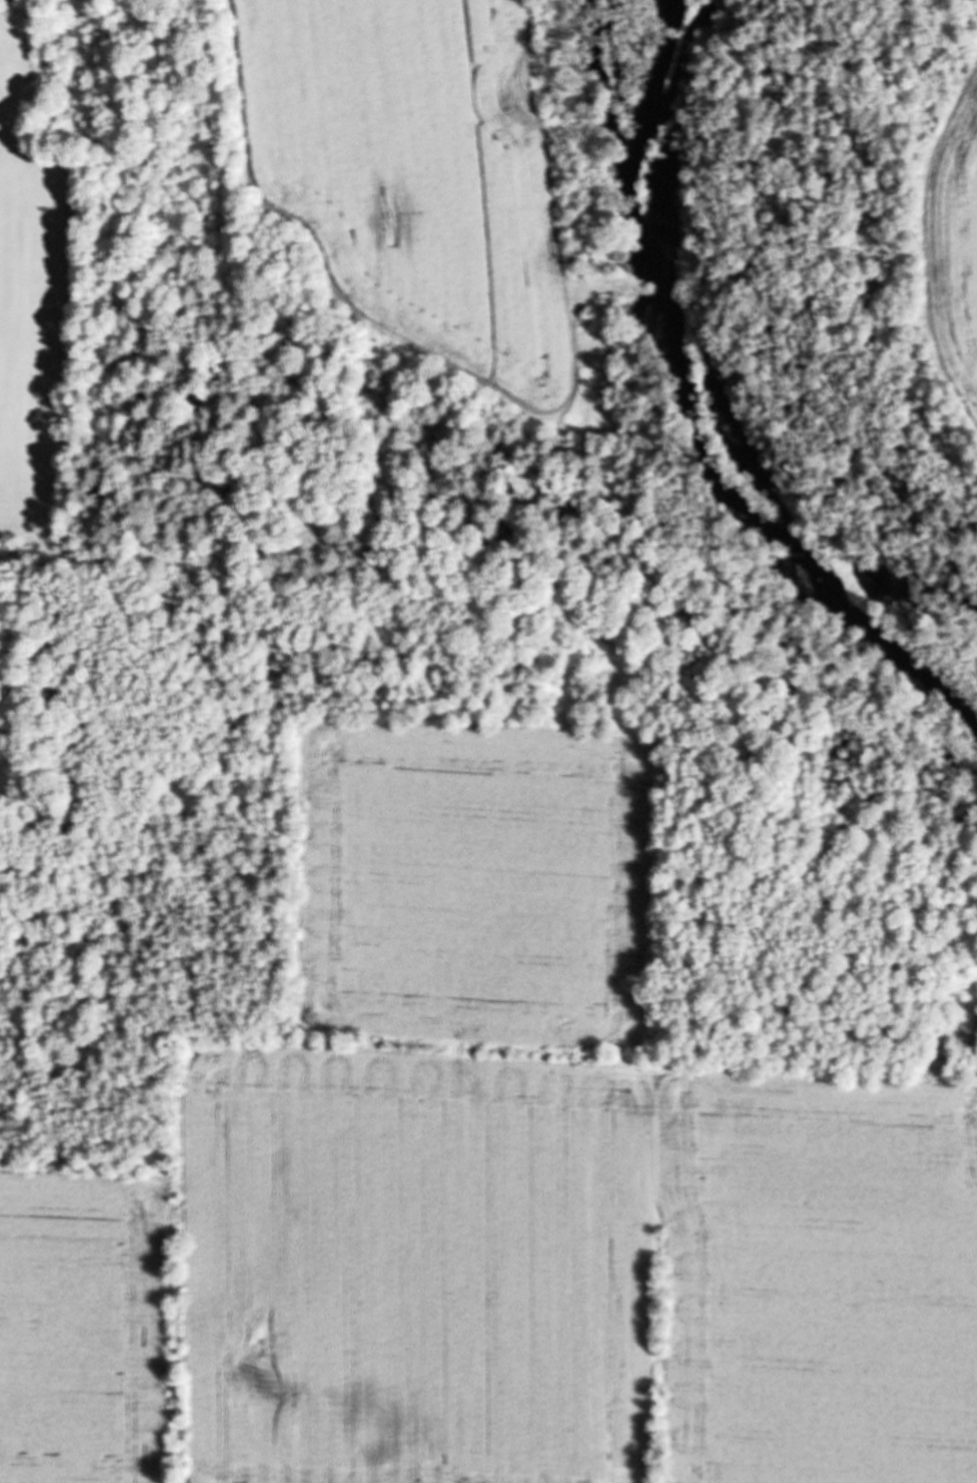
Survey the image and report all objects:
river: (688, 415)

